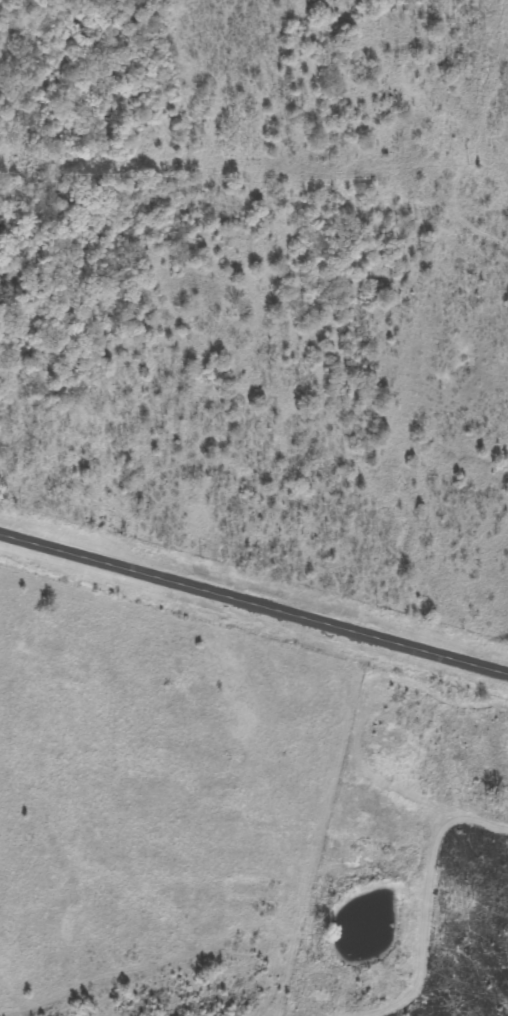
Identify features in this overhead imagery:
road: (254, 605)

